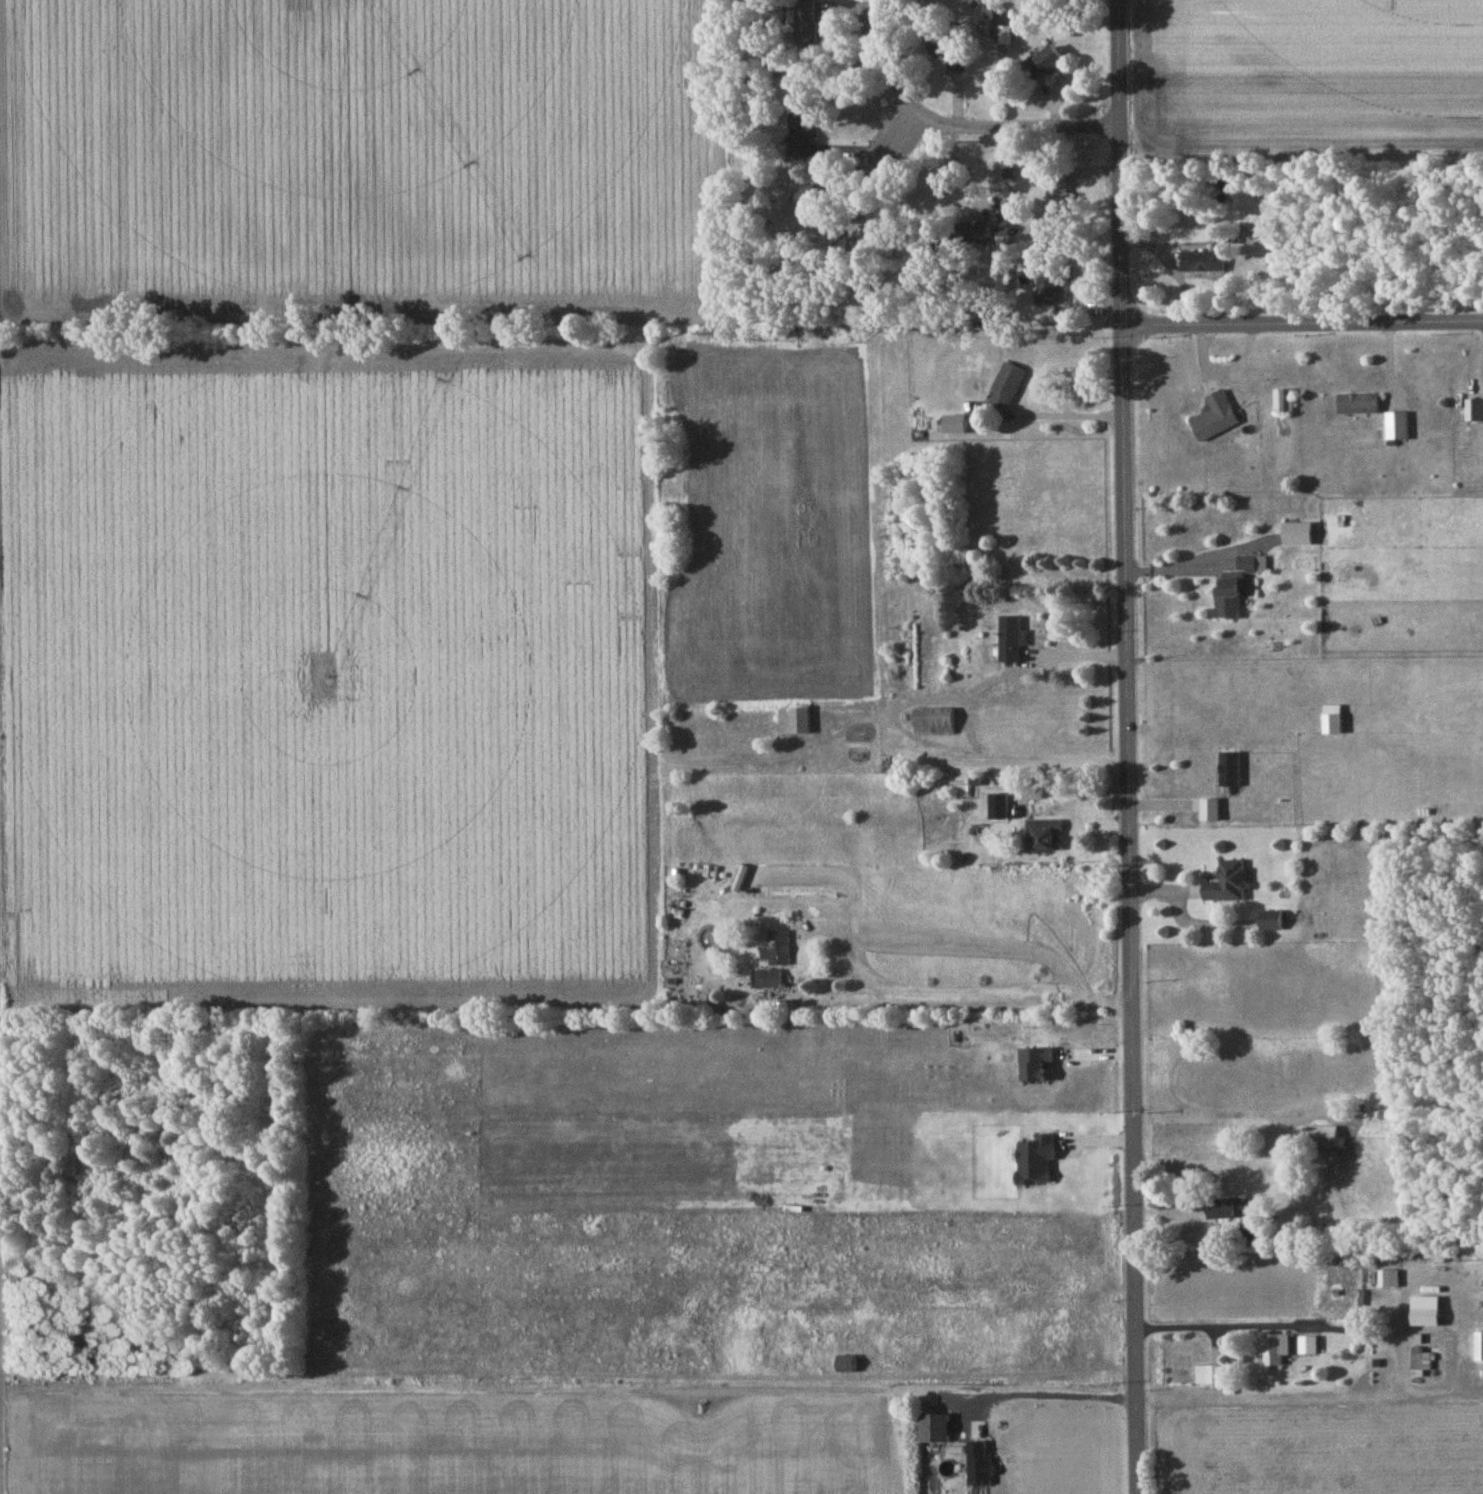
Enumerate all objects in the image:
building: (806, 24)
building: (950, 48)
building: (1047, 61)
road: (950, 123)
building: (801, 134)
road: (893, 140)
building: (1058, 191)
building: (805, 198)
building: (1203, 261)
building: (1051, 284)
road: (1302, 326)
building: (1005, 387)
building: (1284, 401)
building: (1360, 404)
road: (1032, 412)
building: (1217, 417)
building: (956, 423)
building: (1398, 425)
road: (1176, 562)
building: (1249, 564)
building: (1232, 588)
building: (1012, 639)
building: (1334, 718)
building: (795, 720)
building: (934, 721)
road: (1126, 746)
building: (1232, 768)
building: (1044, 833)
building: (1229, 881)
building: (1273, 918)
building: (777, 948)
building: (770, 977)
road: (958, 1005)
building: (1326, 1136)
building: (1229, 1207)
building: (1252, 1231)
building: (1390, 1277)
building: (1426, 1310)
road: (1261, 1323)
building: (1309, 1344)
building: (1480, 1346)
building: (1276, 1349)
building: (1420, 1361)
building: (1215, 1374)
road: (1053, 1392)
building: (936, 1428)

